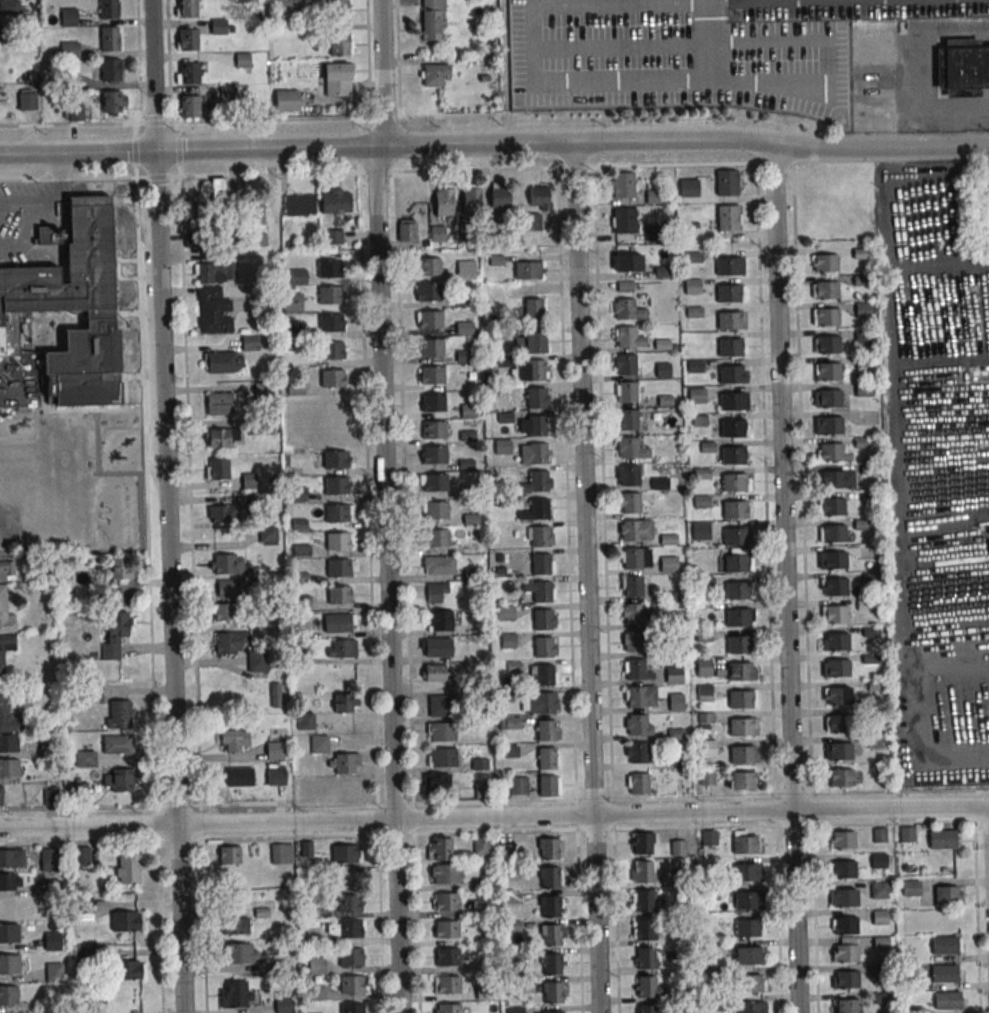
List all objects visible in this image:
building: (243, 0)
building: (288, 3)
building: (9, 6)
building: (187, 8)
building: (107, 9)
building: (338, 10)
building: (67, 17)
building: (432, 19)
building: (218, 26)
building: (108, 40)
building: (188, 40)
road: (705, 41)
building: (340, 43)
building: (68, 49)
road: (367, 58)
building: (242, 60)
building: (965, 66)
road: (921, 67)
building: (109, 69)
building: (187, 72)
road: (382, 72)
building: (434, 74)
building: (337, 79)
building: (64, 80)
road: (697, 82)
building: (228, 94)
building: (286, 100)
building: (26, 101)
building: (110, 101)
building: (189, 106)
road: (257, 119)
road: (495, 142)
road: (707, 164)
building: (725, 182)
building: (622, 184)
building: (688, 188)
building: (219, 189)
road: (57, 191)
building: (499, 196)
building: (539, 197)
building: (471, 200)
building: (336, 203)
building: (299, 204)
building: (254, 209)
building: (439, 209)
building: (193, 213)
building: (727, 217)
building: (623, 220)
road: (27, 221)
building: (406, 230)
building: (333, 236)
building: (627, 262)
building: (825, 262)
building: (428, 265)
building: (729, 265)
building: (329, 268)
road: (948, 268)
building: (465, 269)
building: (527, 269)
building: (214, 272)
building: (298, 276)
building: (692, 286)
building: (826, 289)
building: (428, 291)
building: (727, 293)
building: (329, 295)
building: (292, 301)
building: (75, 303)
building: (623, 308)
building: (532, 312)
building: (214, 314)
building: (827, 316)
building: (429, 319)
building: (728, 320)
building: (330, 322)
building: (464, 327)
building: (625, 336)
building: (534, 341)
building: (827, 344)
building: (430, 346)
building: (729, 347)
building: (330, 349)
building: (223, 362)
building: (625, 364)
building: (694, 366)
building: (534, 369)
building: (662, 370)
building: (828, 371)
building: (730, 374)
building: (431, 375)
building: (331, 378)
building: (626, 392)
building: (696, 394)
building: (535, 397)
building: (829, 398)
building: (730, 401)
building: (431, 402)
building: (218, 403)
building: (627, 419)
building: (698, 420)
building: (535, 425)
building: (830, 425)
building: (731, 428)
building: (432, 430)
building: (218, 437)
building: (502, 446)
building: (628, 447)
road: (913, 448)
building: (830, 451)
building: (536, 453)
building: (433, 454)
building: (732, 455)
building: (334, 459)
building: (217, 468)
building: (701, 473)
building: (629, 475)
road: (764, 479)
building: (831, 479)
building: (537, 480)
building: (434, 482)
building: (732, 482)
road: (602, 483)
building: (659, 483)
building: (335, 485)
road: (402, 488)
road: (366, 489)
building: (700, 501)
building: (630, 503)
road: (166, 506)
building: (832, 506)
building: (538, 508)
building: (435, 509)
building: (733, 510)
building: (224, 513)
building: (335, 513)
building: (630, 530)
building: (700, 531)
building: (833, 533)
building: (267, 534)
building: (539, 536)
building: (734, 536)
building: (436, 537)
building: (336, 541)
building: (632, 558)
building: (831, 560)
building: (539, 563)
building: (735, 563)
building: (225, 564)
building: (668, 564)
building: (438, 565)
building: (121, 568)
building: (337, 568)
building: (7, 570)
road: (587, 576)
road: (387, 578)
road: (786, 579)
building: (704, 582)
building: (632, 586)
building: (835, 586)
building: (228, 588)
building: (541, 591)
building: (735, 591)
building: (437, 592)
building: (338, 595)
building: (225, 612)
building: (6, 613)
building: (633, 613)
building: (835, 613)
building: (736, 617)
building: (541, 619)
building: (670, 619)
building: (439, 620)
building: (338, 622)
building: (114, 632)
building: (508, 640)
building: (633, 641)
building: (837, 641)
building: (228, 643)
building: (737, 645)
building: (436, 646)
building: (542, 647)
building: (343, 648)
building: (257, 661)
building: (2, 662)
building: (702, 666)
building: (635, 668)
building: (837, 668)
building: (738, 671)
building: (434, 672)
building: (673, 674)
building: (543, 675)
building: (704, 692)
building: (275, 694)
building: (838, 695)
building: (635, 696)
building: (739, 698)
building: (4, 700)
building: (675, 701)
building: (545, 702)
building: (345, 703)
building: (439, 704)
building: (119, 714)
building: (705, 720)
building: (305, 721)
building: (509, 722)
building: (838, 723)
building: (636, 724)
building: (740, 726)
building: (545, 730)
building: (442, 731)
building: (234, 740)
building: (9, 743)
building: (319, 743)
building: (118, 744)
building: (41, 746)
building: (277, 747)
building: (706, 748)
building: (839, 751)
building: (638, 752)
building: (741, 754)
building: (443, 757)
building: (85, 758)
building: (545, 758)
building: (343, 763)
building: (9, 767)
road: (575, 771)
building: (239, 777)
building: (706, 777)
building: (840, 777)
building: (276, 778)
building: (118, 780)
building: (741, 780)
building: (436, 782)
building: (638, 783)
building: (518, 786)
building: (546, 786)
building: (78, 790)
building: (306, 790)
building: (2, 795)
building: (50, 796)
road: (494, 817)
road: (794, 824)
building: (906, 834)
building: (879, 835)
building: (941, 838)
building: (842, 839)
building: (709, 841)
building: (642, 844)
building: (743, 844)
building: (480, 845)
building: (678, 847)
building: (439, 848)
building: (547, 848)
building: (307, 850)
building: (281, 853)
building: (346, 853)
building: (228, 854)
building: (83, 855)
building: (11, 858)
building: (50, 859)
building: (879, 860)
building: (128, 868)
building: (844, 869)
building: (642, 871)
building: (745, 872)
building: (443, 873)
building: (548, 877)
building: (10, 881)
building: (911, 888)
building: (880, 889)
building: (946, 896)
building: (844, 897)
building: (643, 900)
building: (745, 900)
building: (445, 901)
building: (350, 903)
building: (548, 906)
building: (480, 908)
building: (879, 917)
building: (127, 921)
building: (235, 926)
building: (845, 926)
building: (746, 927)
building: (348, 928)
building: (446, 929)
building: (644, 929)
building: (9, 933)
building: (549, 935)
building: (52, 941)
building: (944, 945)
building: (240, 952)
building: (845, 953)
building: (746, 954)
building: (349, 957)
building: (447, 957)
building: (645, 957)
building: (550, 963)
building: (9, 964)
building: (131, 969)
building: (55, 971)
building: (943, 974)
building: (846, 980)
building: (748, 982)
building: (350, 984)
building: (447, 984)
building: (645, 986)
building: (315, 992)
building: (551, 992)
building: (482, 993)
building: (234, 994)
building: (8, 995)
building: (947, 1001)
building: (284, 1005)
building: (847, 1005)
building: (748, 1007)
building: (351, 1008)
building: (448, 1008)
building: (646, 1008)
building: (515, 1009)
building: (551, 1012)

